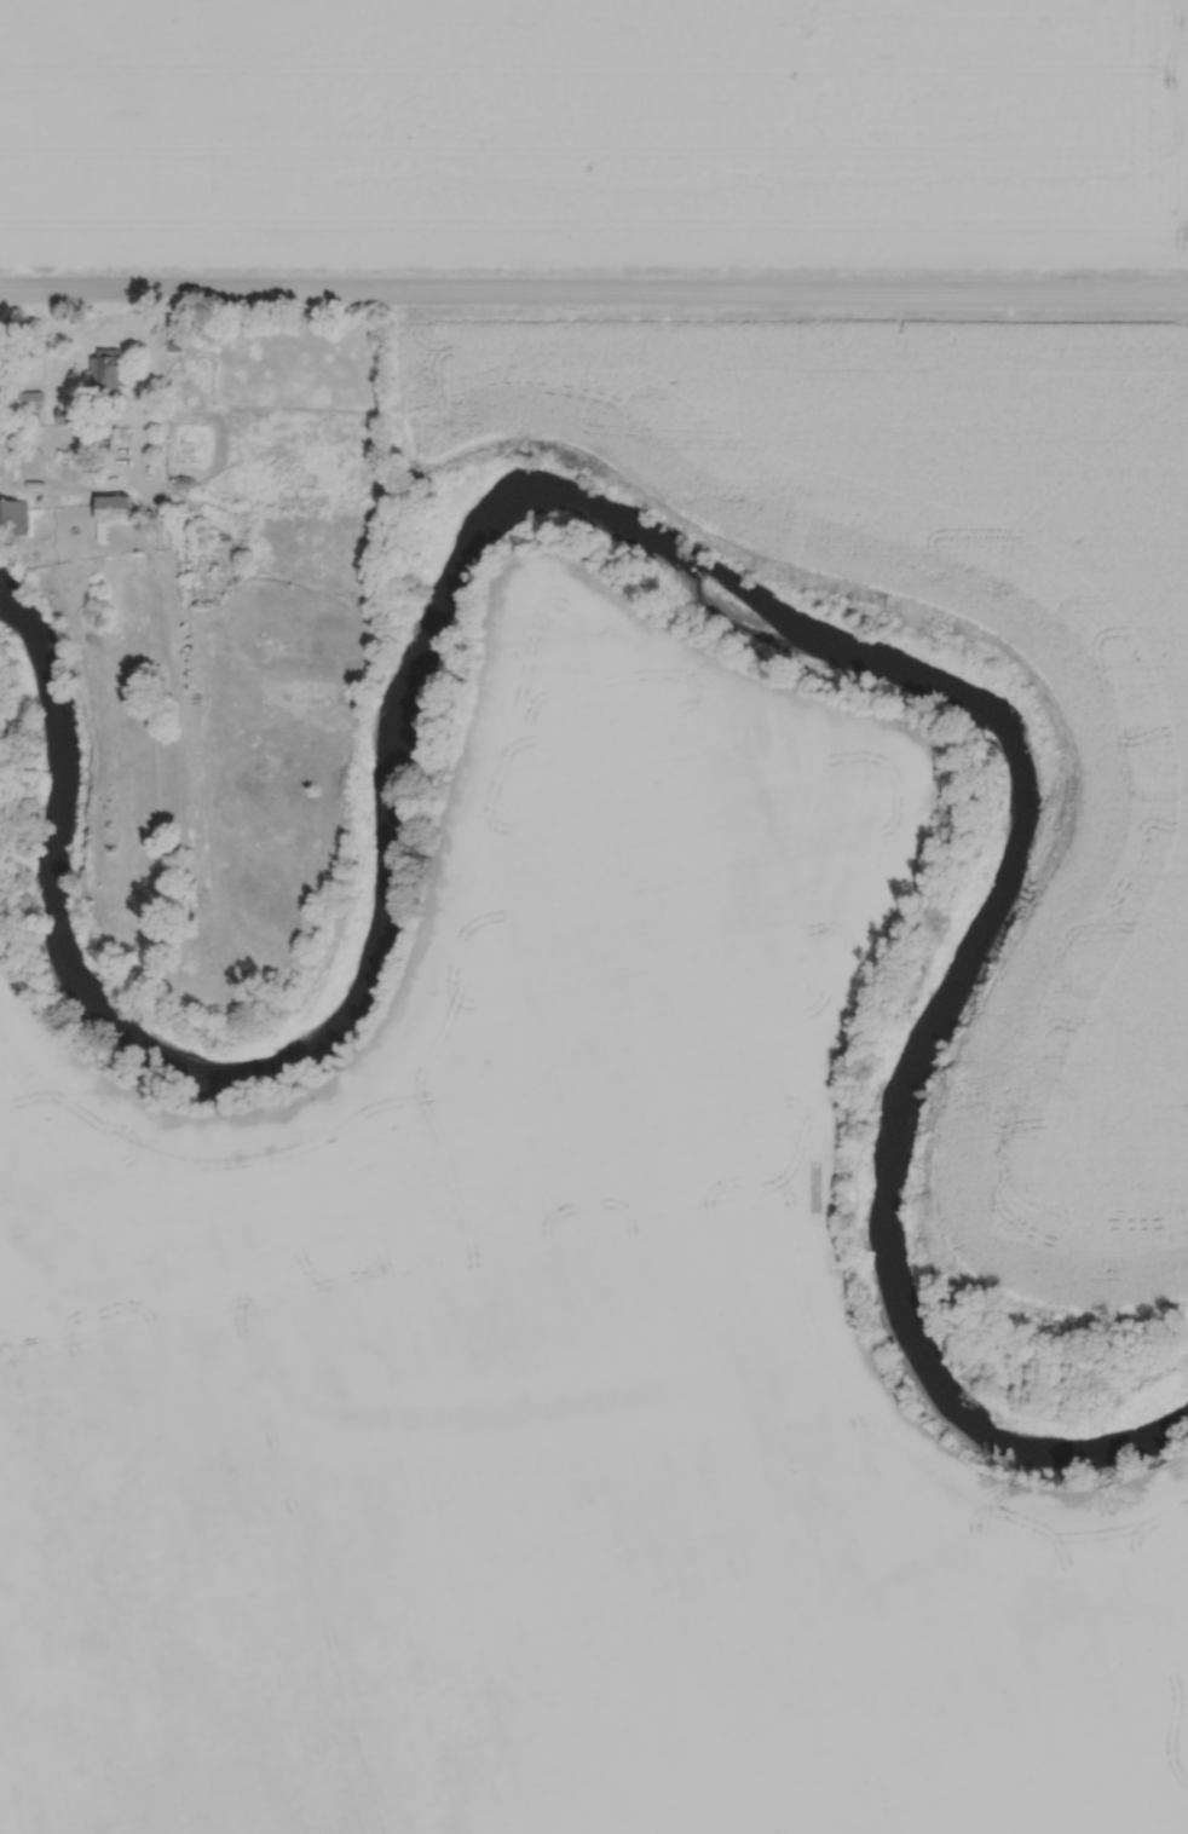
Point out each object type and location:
road: (593, 294)
road: (145, 353)
building: (108, 368)
building: (74, 415)
road: (135, 462)
building: (116, 506)
building: (16, 517)
river: (622, 556)

